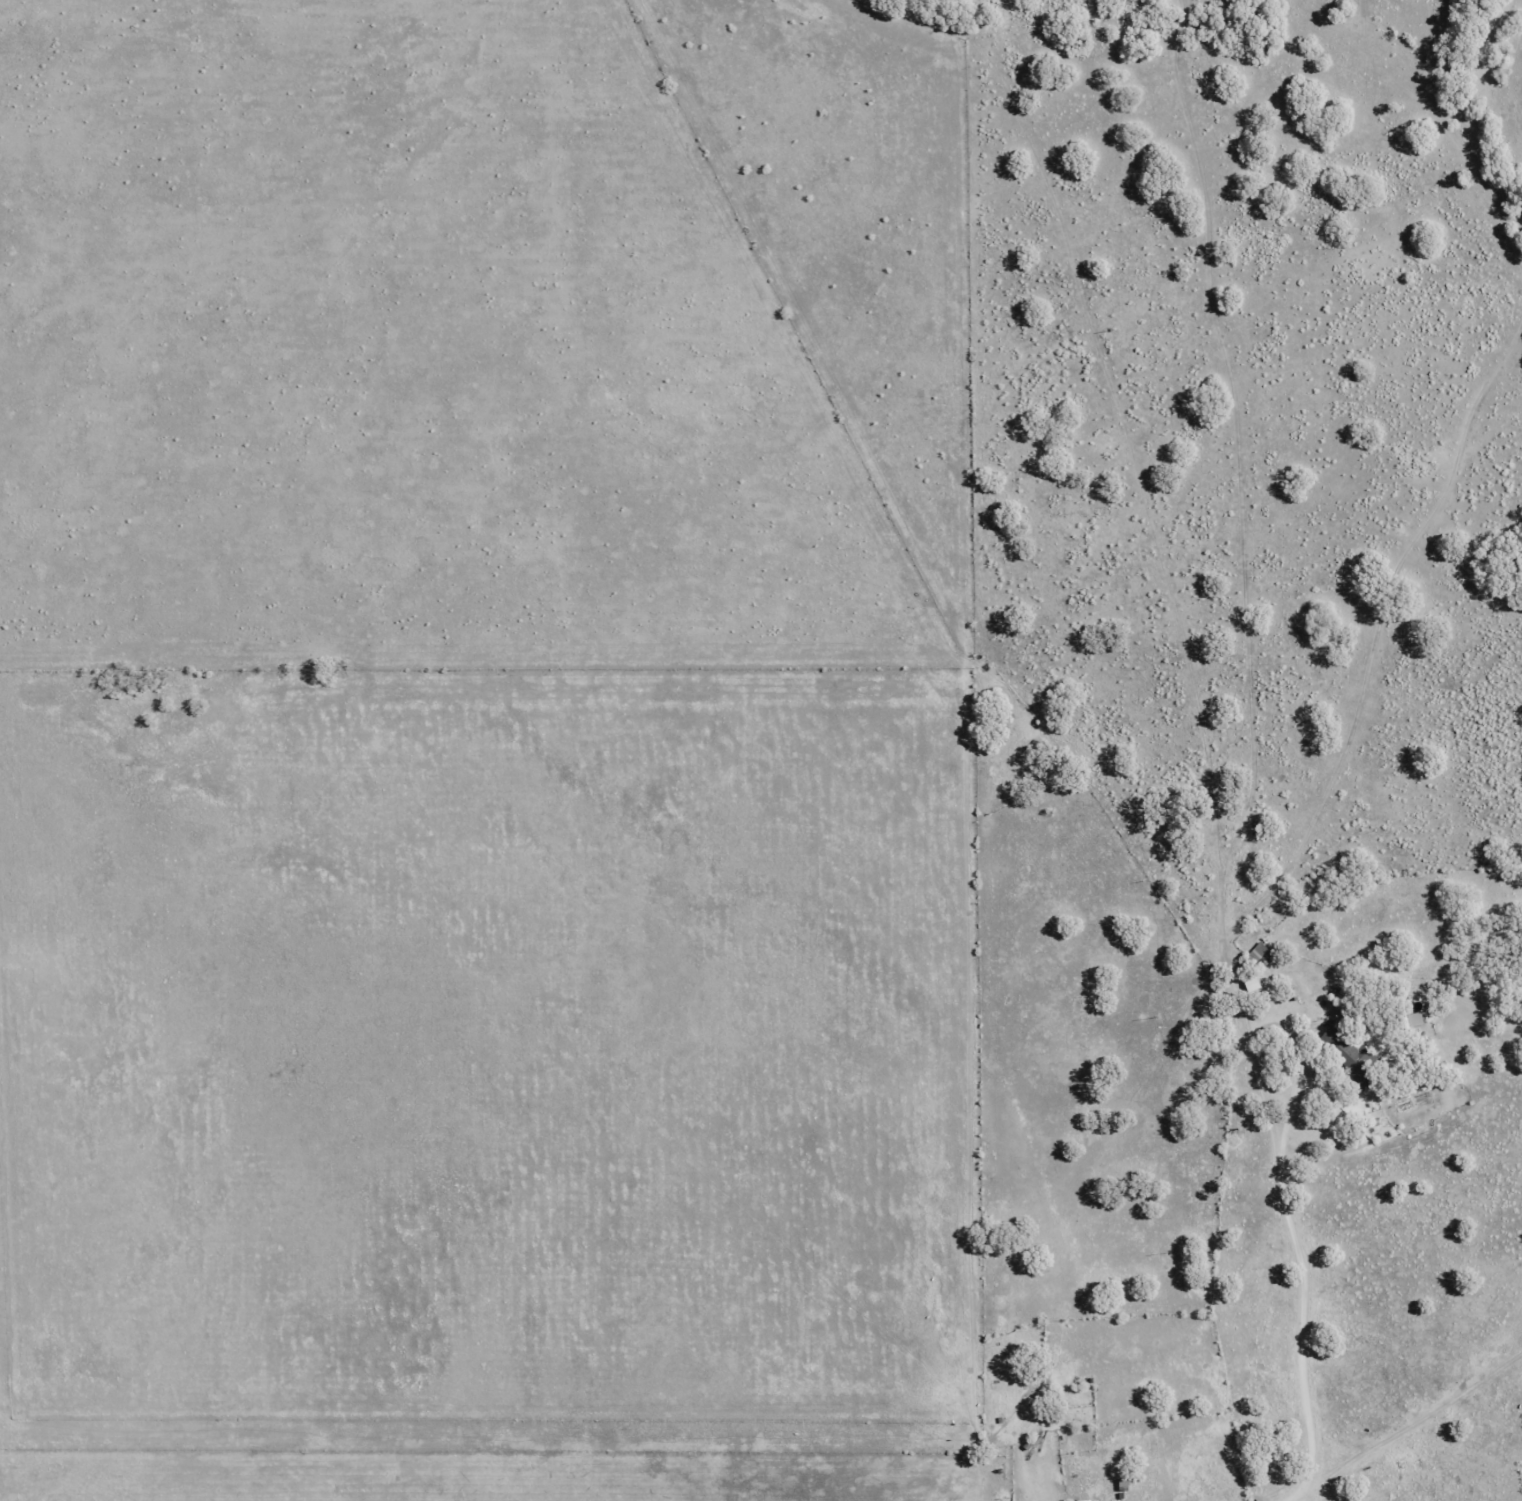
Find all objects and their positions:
building: (1255, 953)
road: (1269, 1020)
building: (1347, 1054)
road: (1299, 1339)

